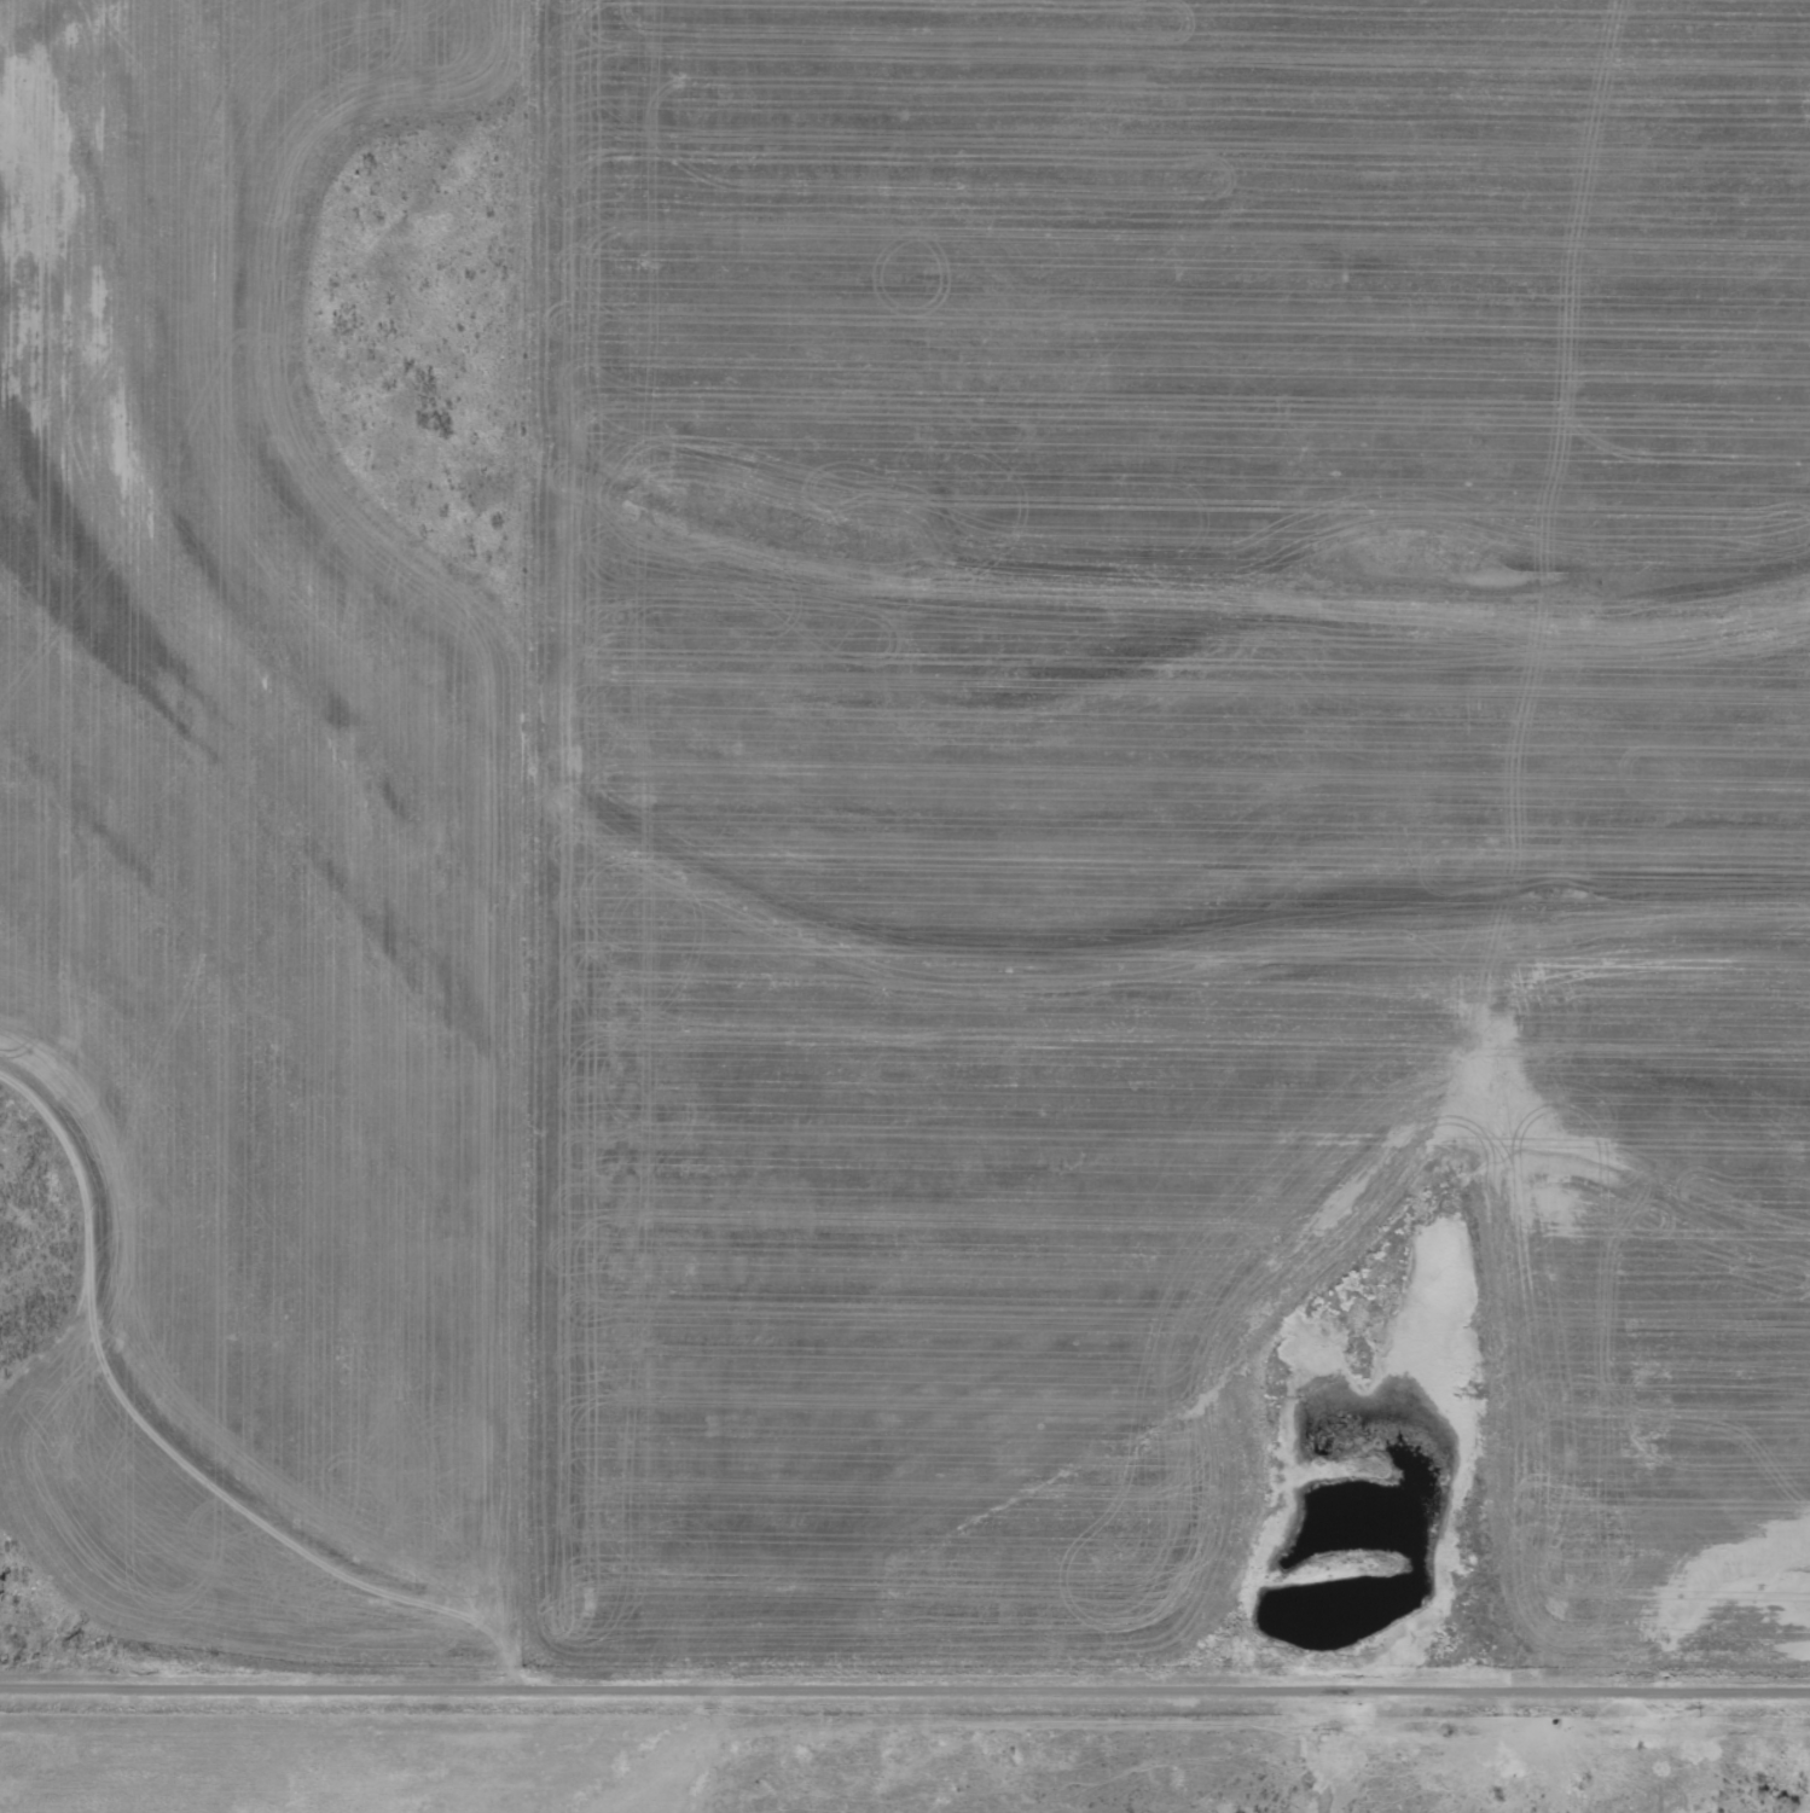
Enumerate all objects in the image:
road: (905, 1686)

